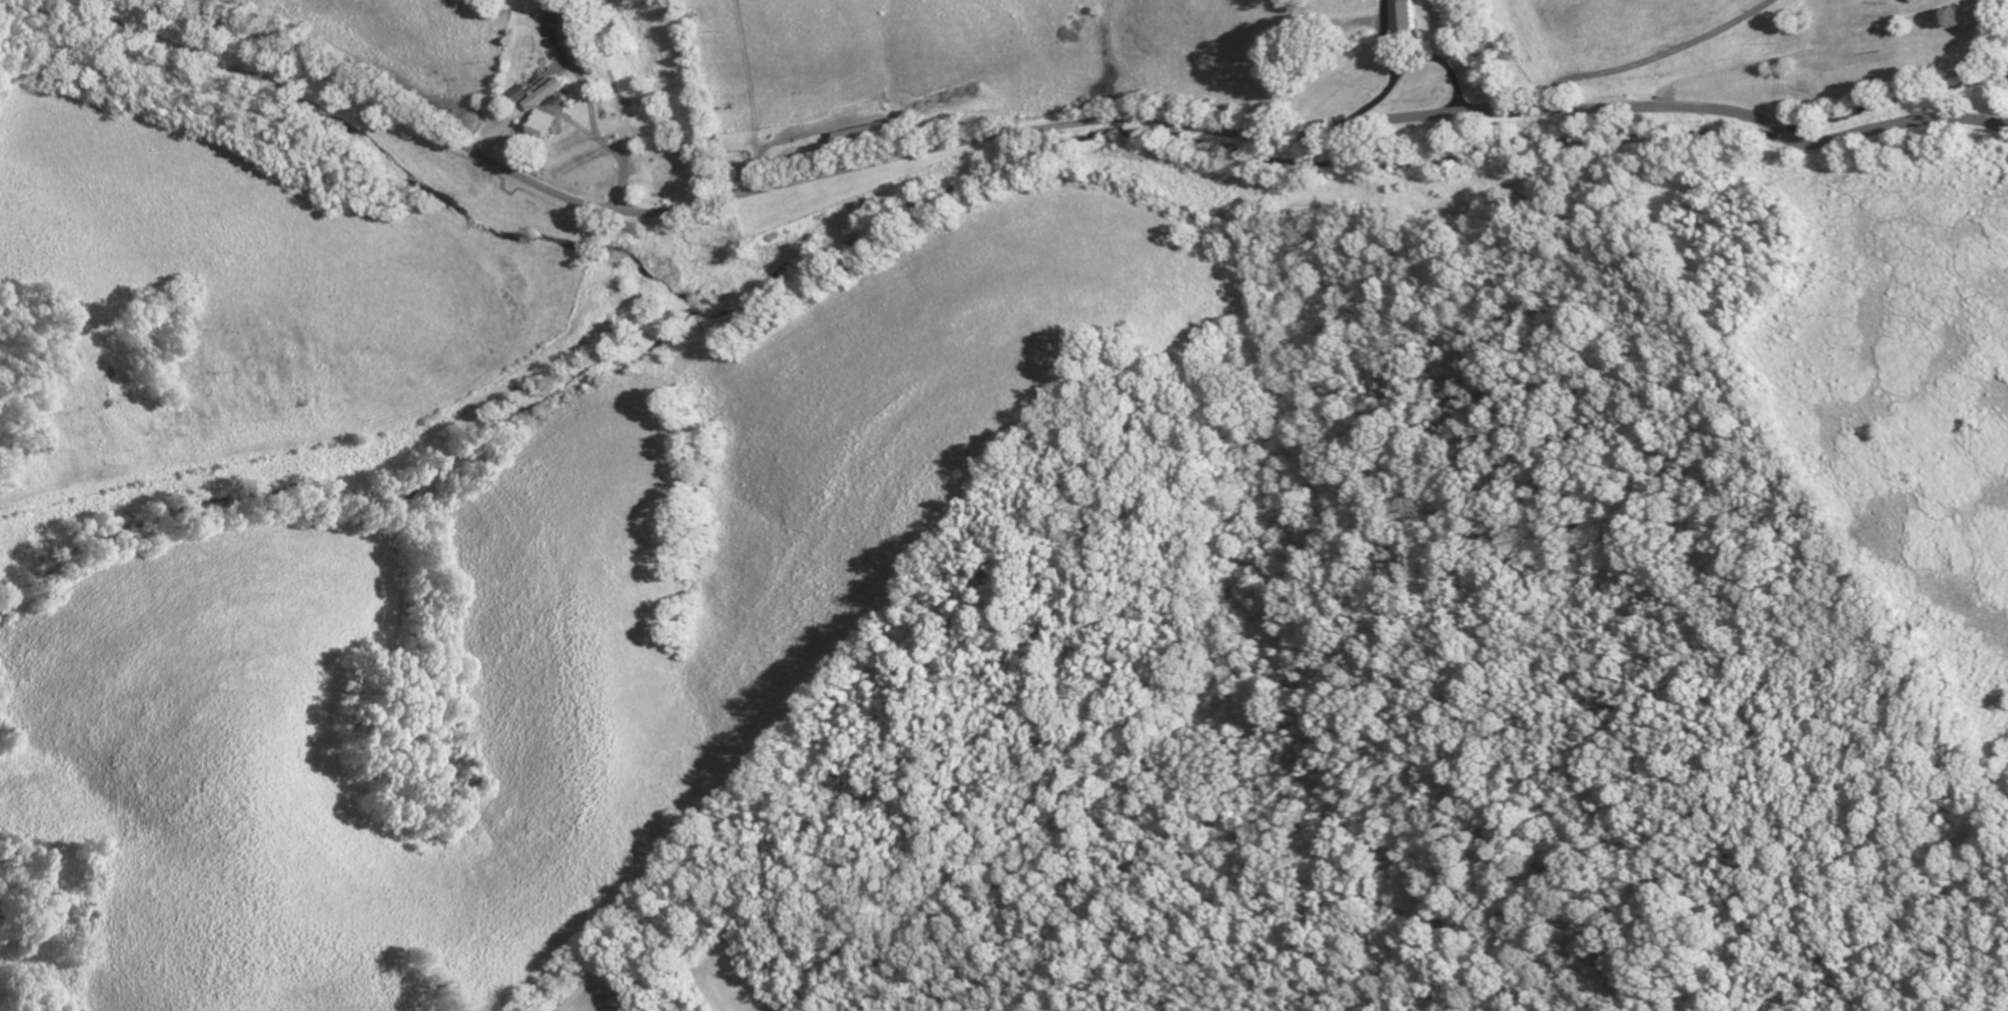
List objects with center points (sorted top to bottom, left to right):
park: (1337, 6)
building: (1413, 14)
building: (561, 23)
road: (1969, 59)
road: (1412, 62)
road: (1541, 111)
building: (550, 125)
road: (579, 203)
road: (361, 440)

